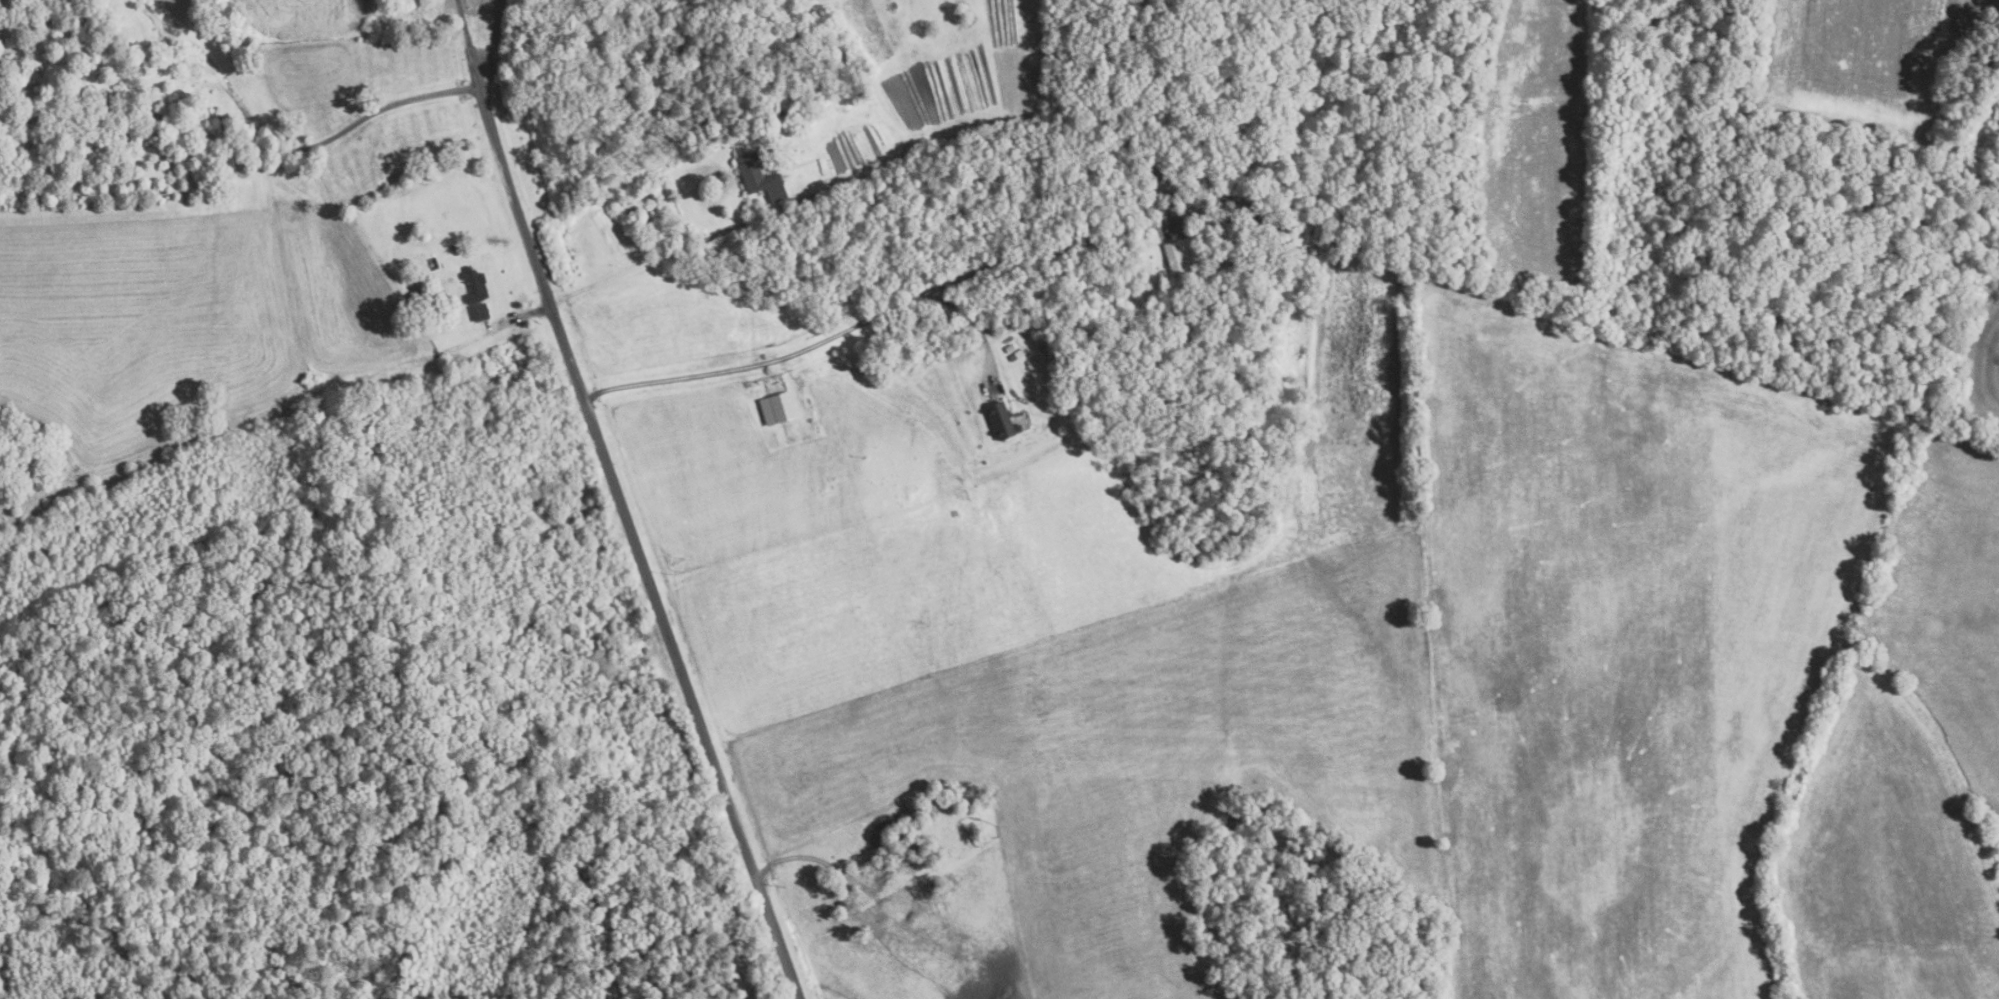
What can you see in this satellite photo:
crop: (822, 2)
road: (497, 31)
road: (468, 43)
crop: (1867, 64)
road: (486, 75)
building: (780, 113)
crop: (1536, 142)
road: (241, 144)
building: (1180, 168)
building: (1154, 169)
building: (760, 177)
building: (1200, 181)
building: (801, 204)
building: (453, 247)
building: (1178, 254)
road: (665, 256)
building: (477, 285)
building: (482, 312)
road: (868, 322)
road: (977, 327)
building: (1007, 347)
crop: (1980, 354)
building: (1013, 356)
building: (775, 408)
road: (275, 412)
building: (998, 421)
road: (634, 544)

